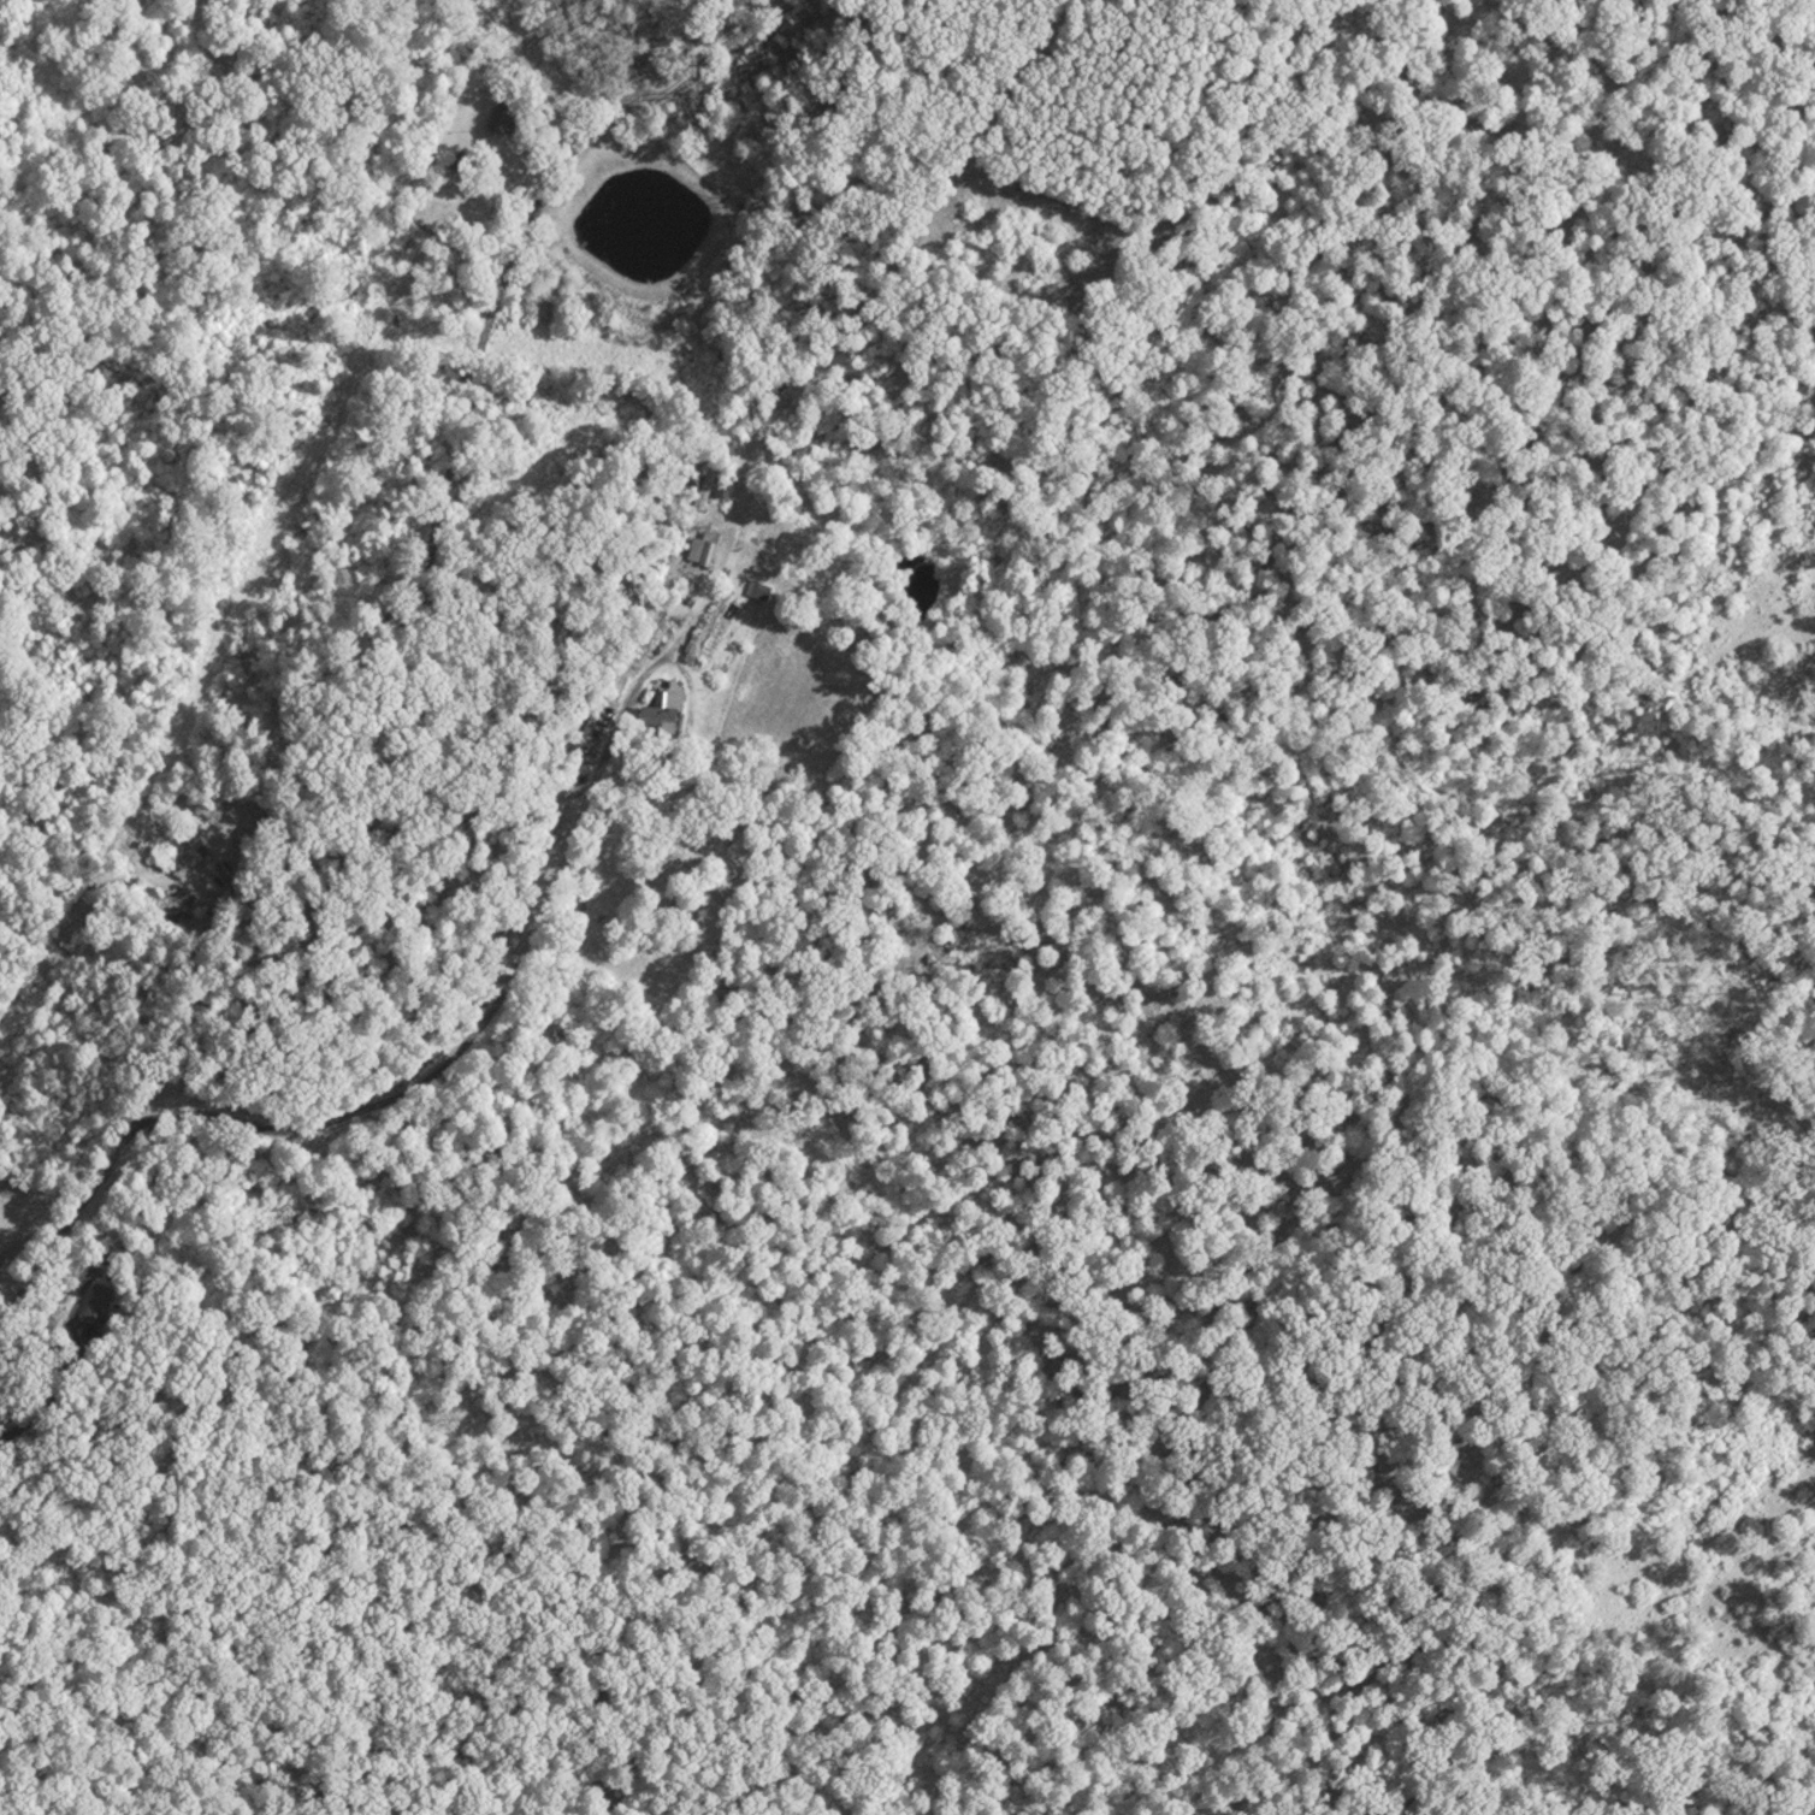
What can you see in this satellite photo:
building: (707, 554)
building: (756, 590)
road: (685, 681)
building: (660, 709)
road: (332, 827)
building: (188, 853)
building: (95, 1303)

